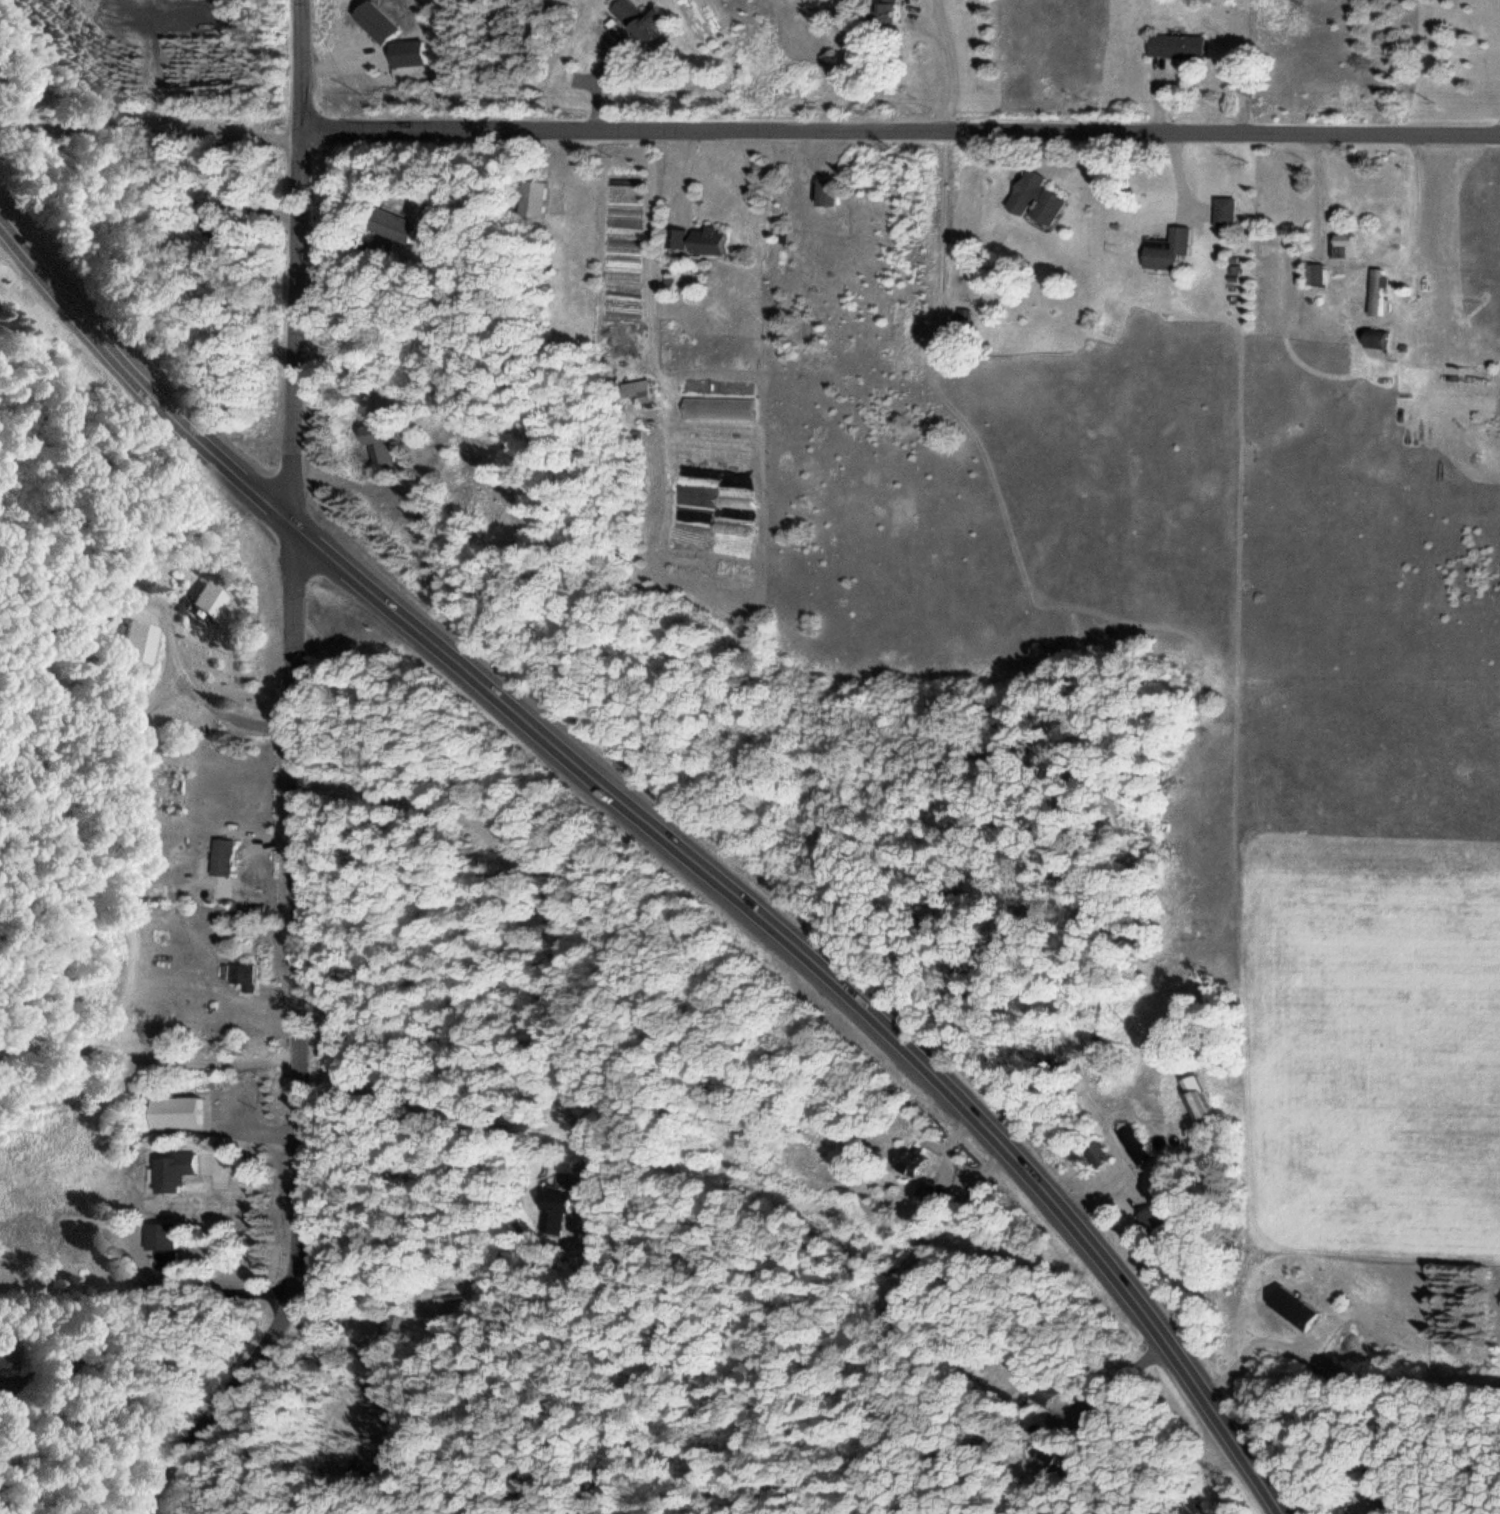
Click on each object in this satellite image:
building: (1213, 0)
building: (883, 12)
building: (641, 19)
building: (1174, 45)
road: (901, 132)
building: (825, 191)
building: (530, 197)
building: (1032, 198)
building: (1223, 211)
building: (389, 224)
building: (695, 240)
building: (1343, 244)
building: (1164, 249)
building: (1312, 277)
building: (1375, 291)
building: (1373, 338)
building: (376, 441)
building: (211, 603)
building: (137, 640)
road: (297, 782)
road: (673, 841)
building: (224, 856)
building: (233, 975)
building: (1192, 1096)
building: (1132, 1144)
building: (1094, 1154)
building: (905, 1159)
building: (924, 1188)
building: (554, 1207)
building: (159, 1242)
building: (386, 1339)
building: (6, 1356)
building: (1044, 1450)
building: (1191, 1504)

